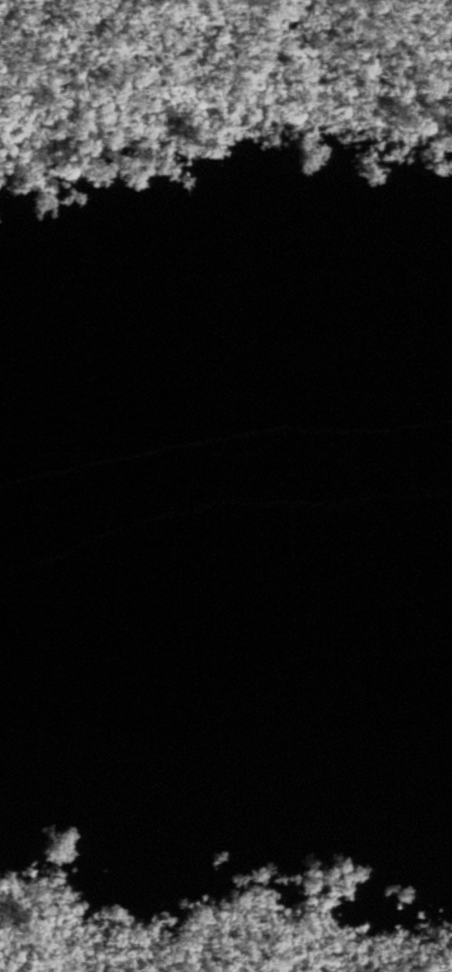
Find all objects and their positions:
river: (226, 593)

